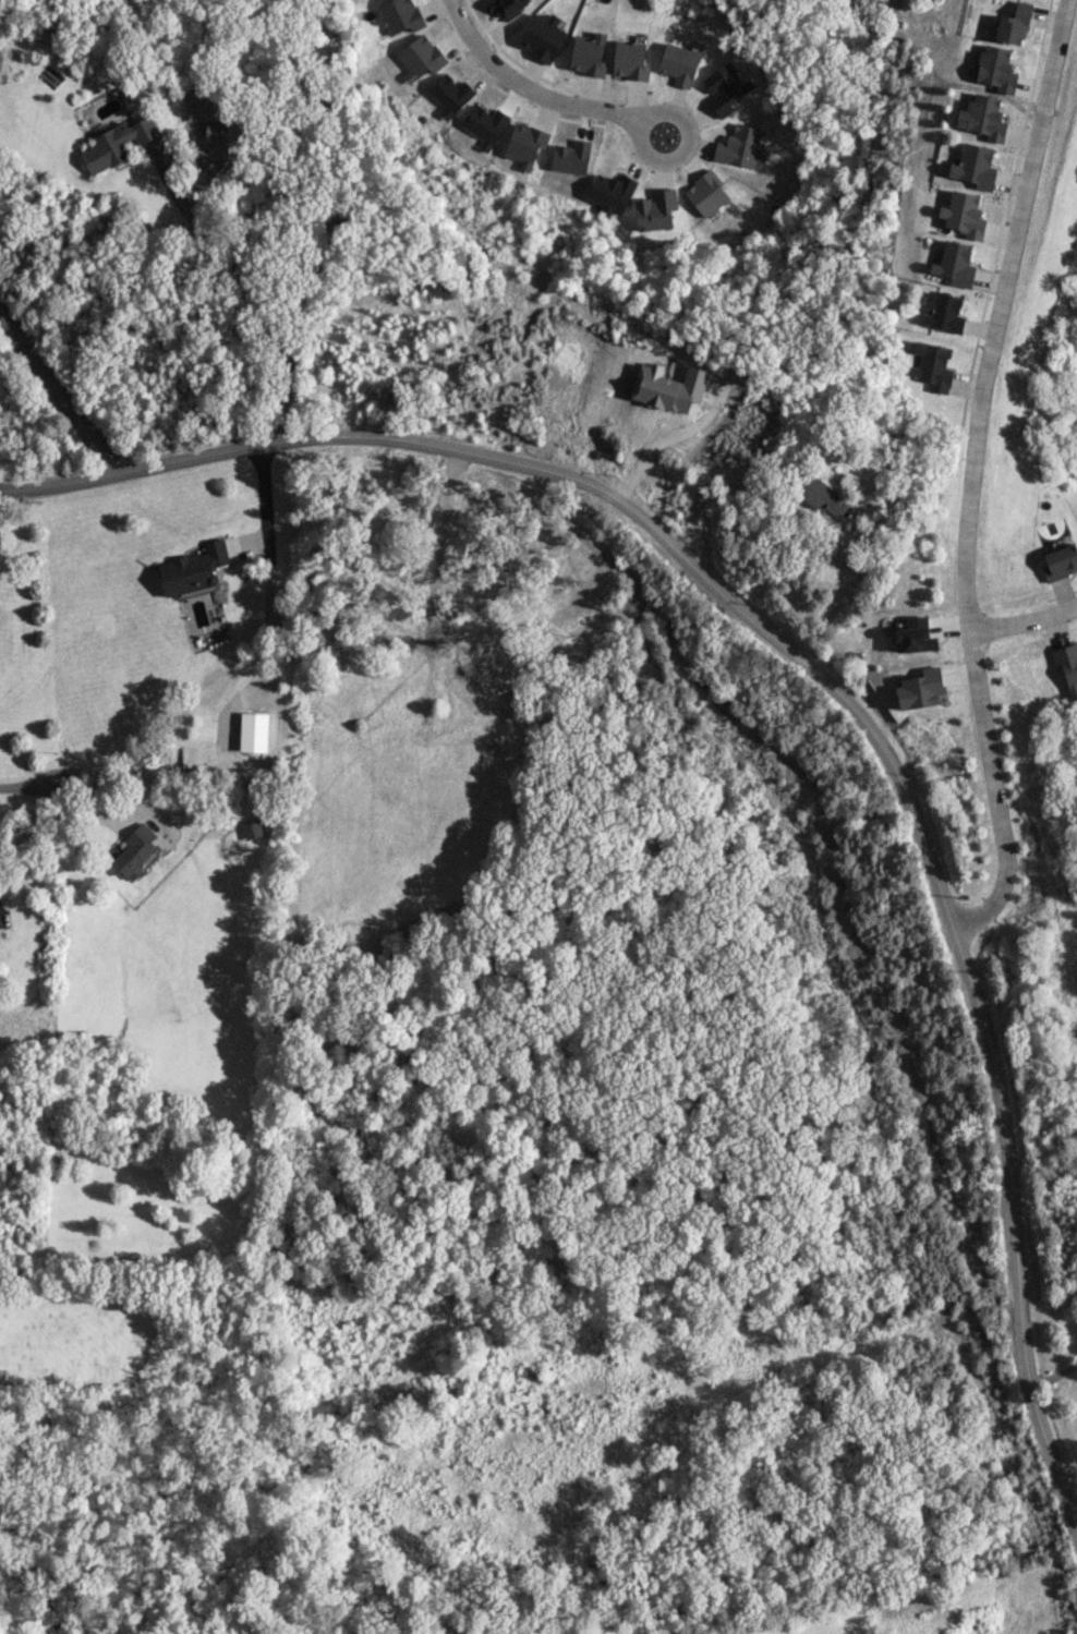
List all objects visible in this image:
building: (400, 15)
building: (1014, 25)
building: (545, 37)
building: (590, 55)
building: (420, 58)
building: (631, 60)
building: (680, 64)
building: (996, 69)
building: (725, 87)
building: (450, 95)
building: (202, 106)
building: (983, 118)
road: (524, 122)
building: (117, 144)
building: (525, 145)
building: (741, 146)
building: (975, 167)
building: (612, 192)
building: (707, 194)
building: (655, 210)
building: (963, 214)
building: (955, 264)
road: (258, 292)
building: (945, 314)
building: (932, 366)
road: (59, 392)
road: (665, 446)
road: (971, 473)
building: (822, 496)
building: (1060, 562)
building: (193, 568)
road: (270, 572)
road: (833, 600)
road: (1022, 620)
building: (915, 636)
building: (1067, 663)
road: (821, 679)
building: (921, 689)
building: (254, 731)
road: (23, 787)
road: (501, 790)
building: (252, 828)
building: (135, 850)
road: (0, 917)
road: (1052, 1376)

